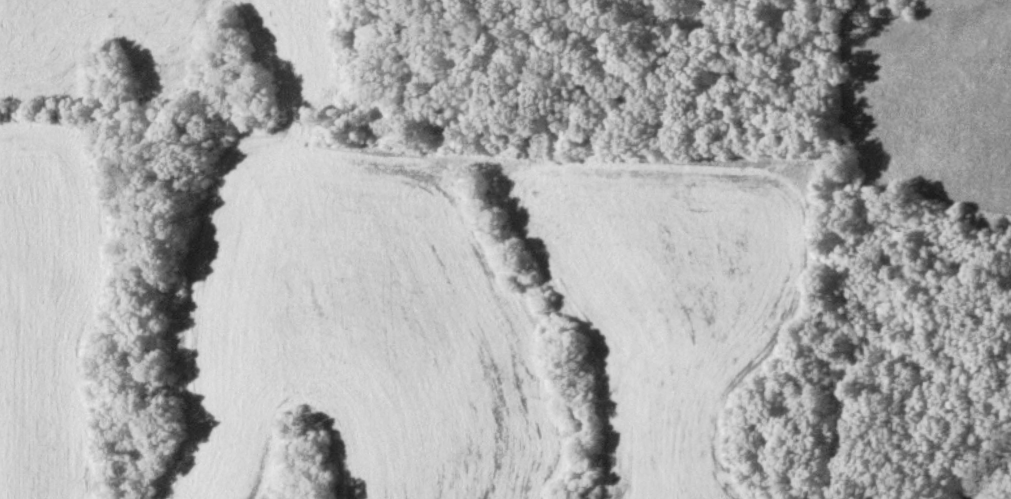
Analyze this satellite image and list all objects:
river: (972, 435)

